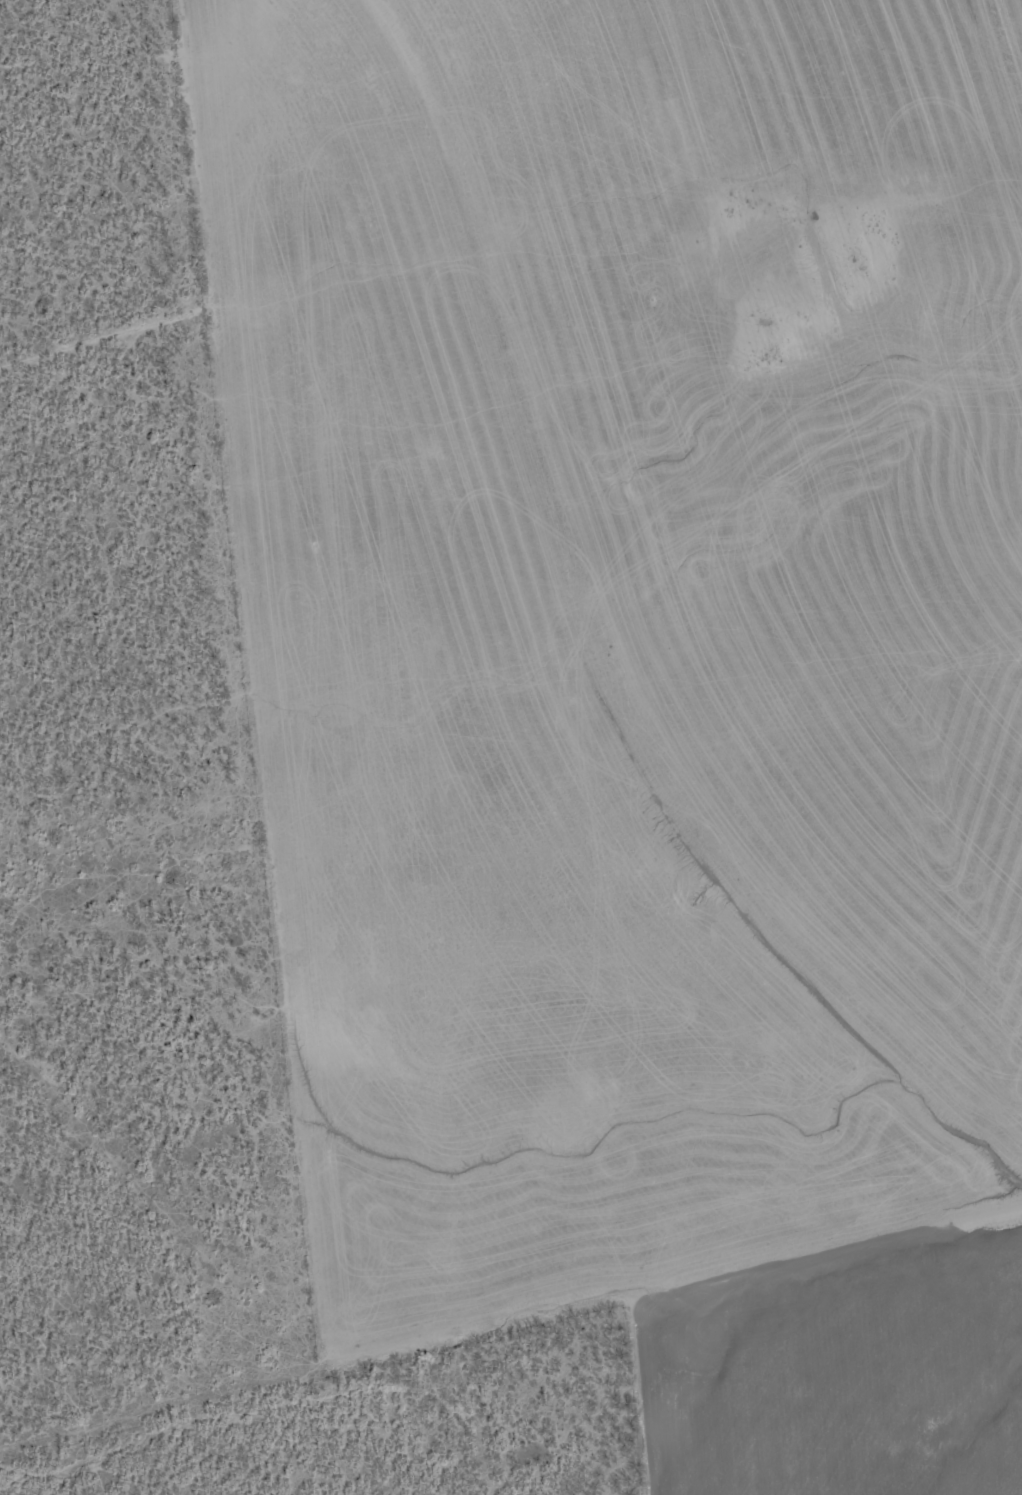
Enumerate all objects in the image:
road: (504, 248)
road: (417, 902)
road: (17, 1221)

